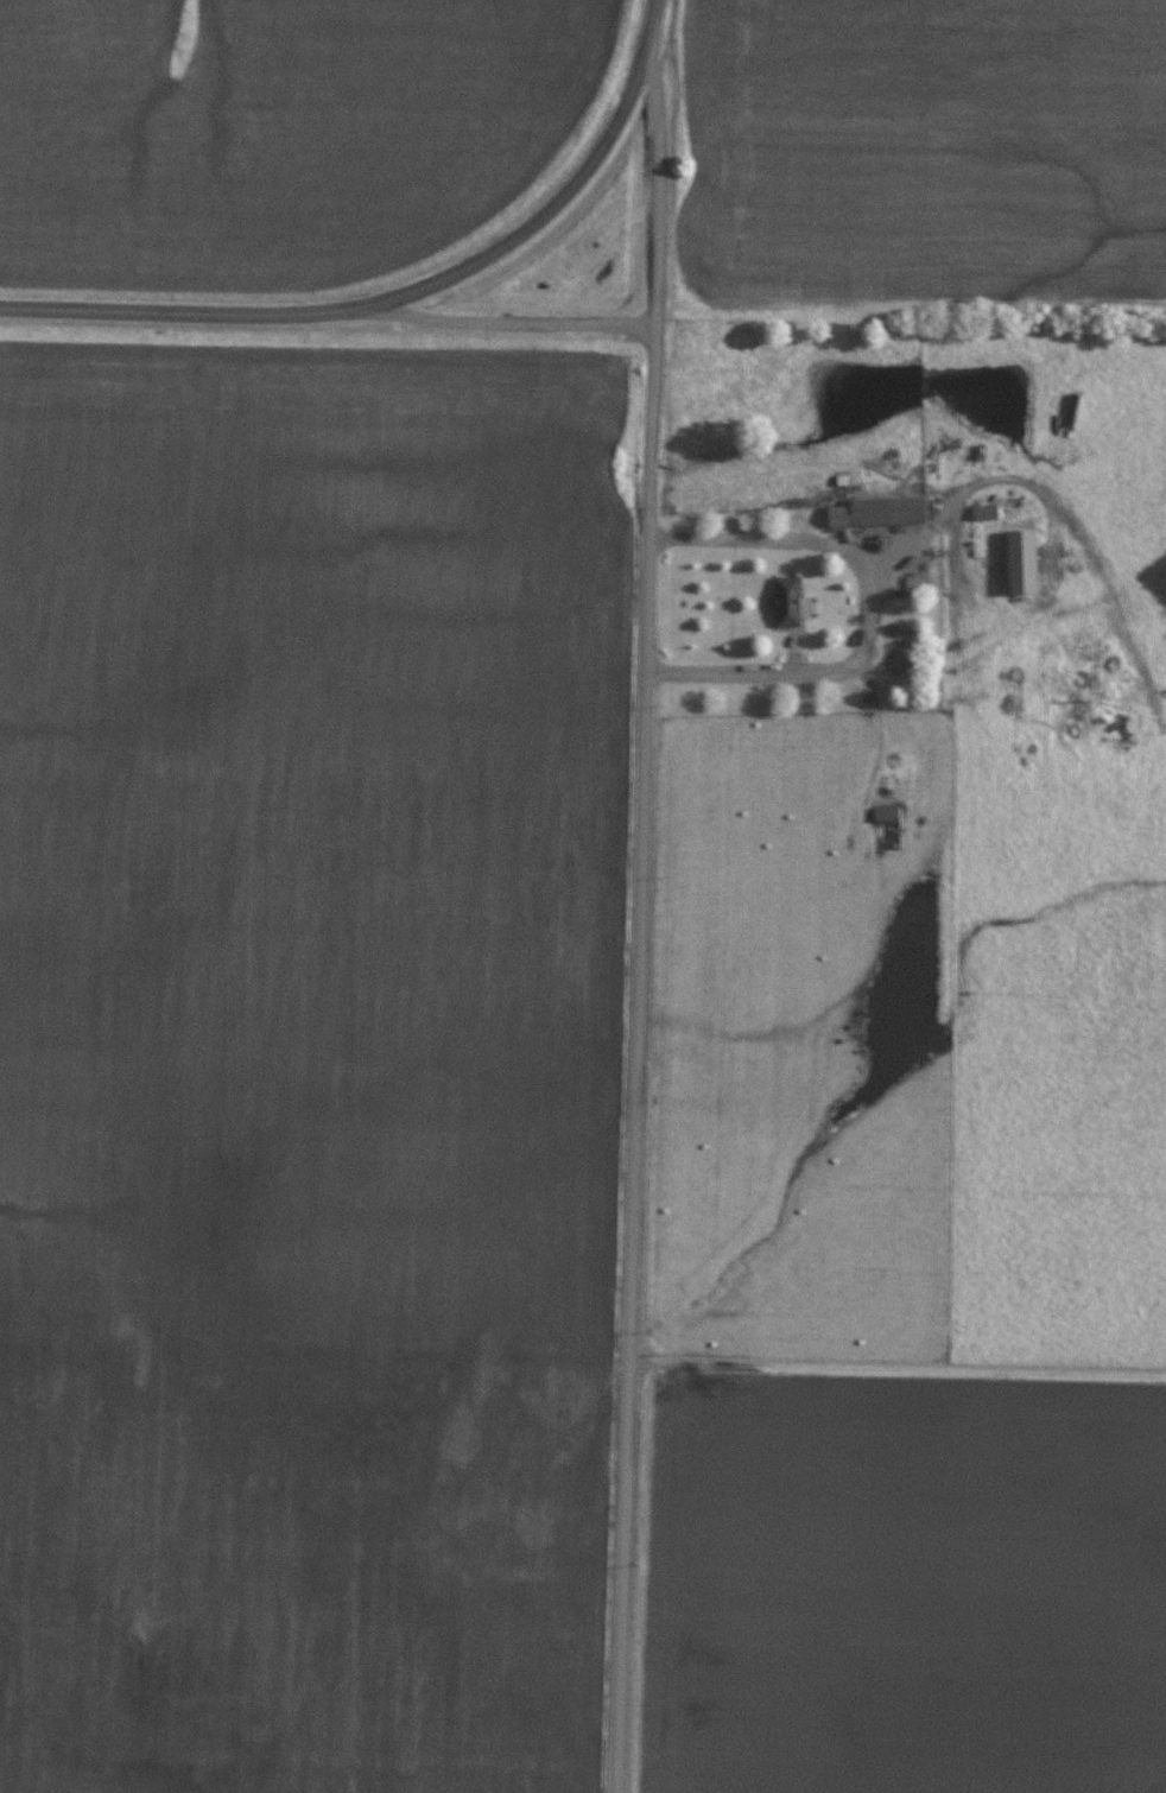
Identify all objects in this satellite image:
road: (653, 186)
road: (403, 291)
road: (509, 321)
building: (879, 511)
building: (984, 512)
building: (786, 600)
road: (864, 606)
building: (885, 812)
road: (636, 1059)

